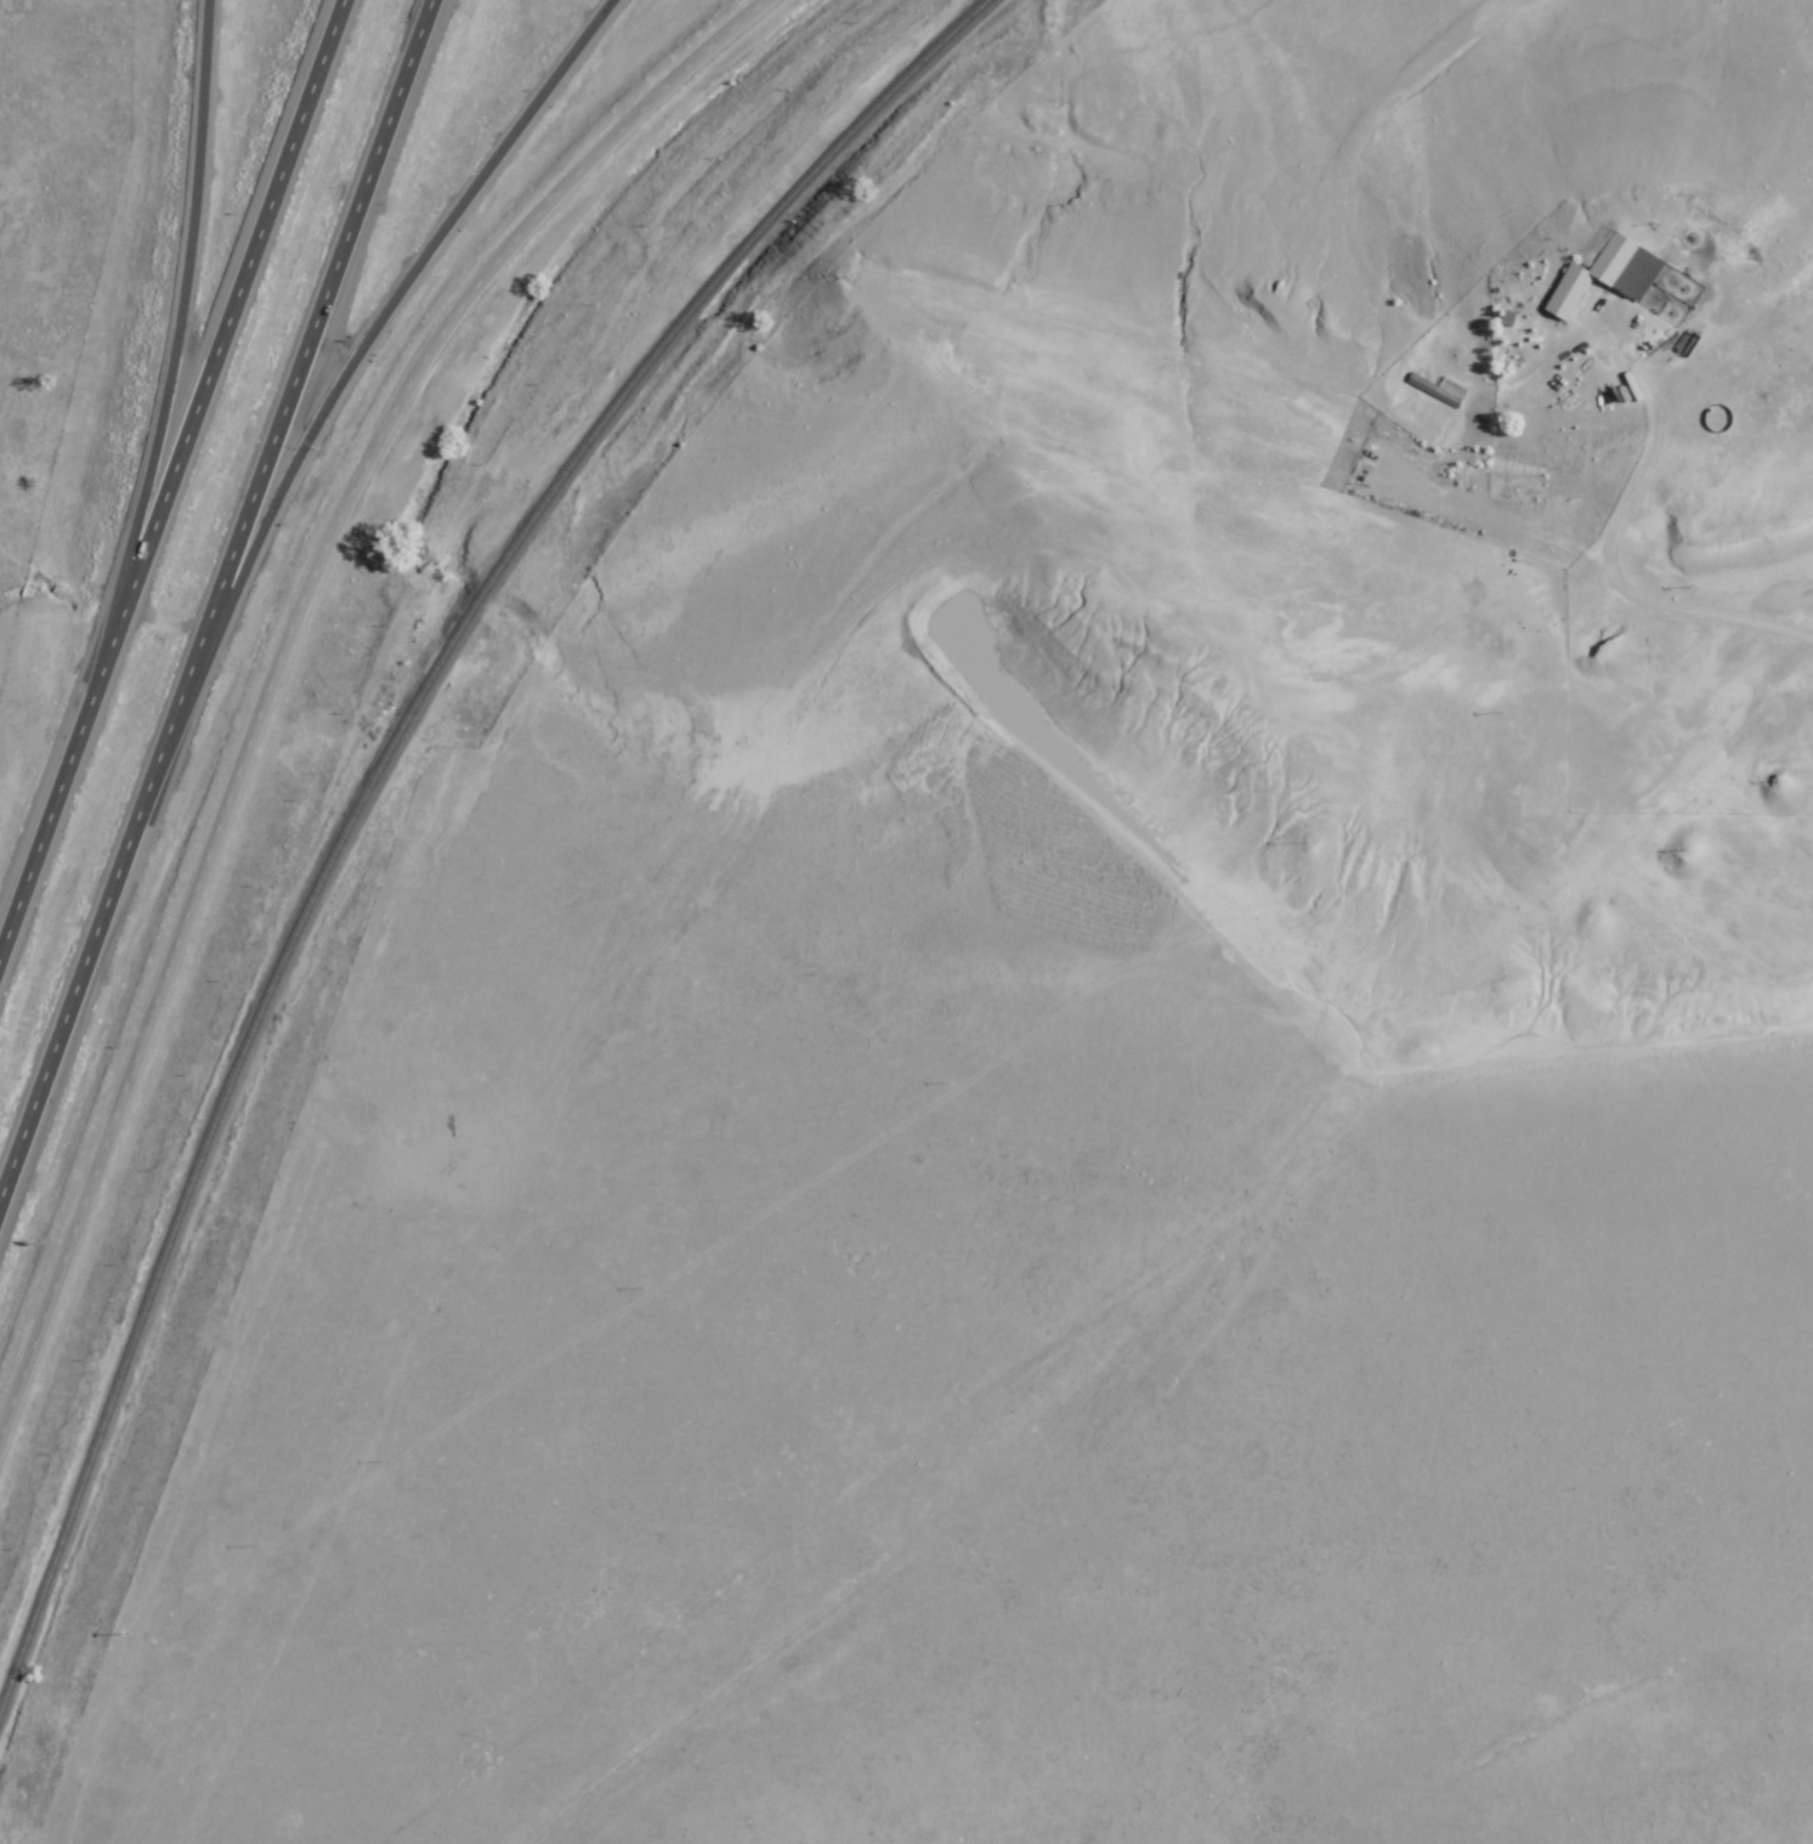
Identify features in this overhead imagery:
building: (1615, 281)
road: (375, 327)
road: (175, 340)
road: (172, 470)
road: (215, 598)
road: (279, 649)
railway: (373, 779)

